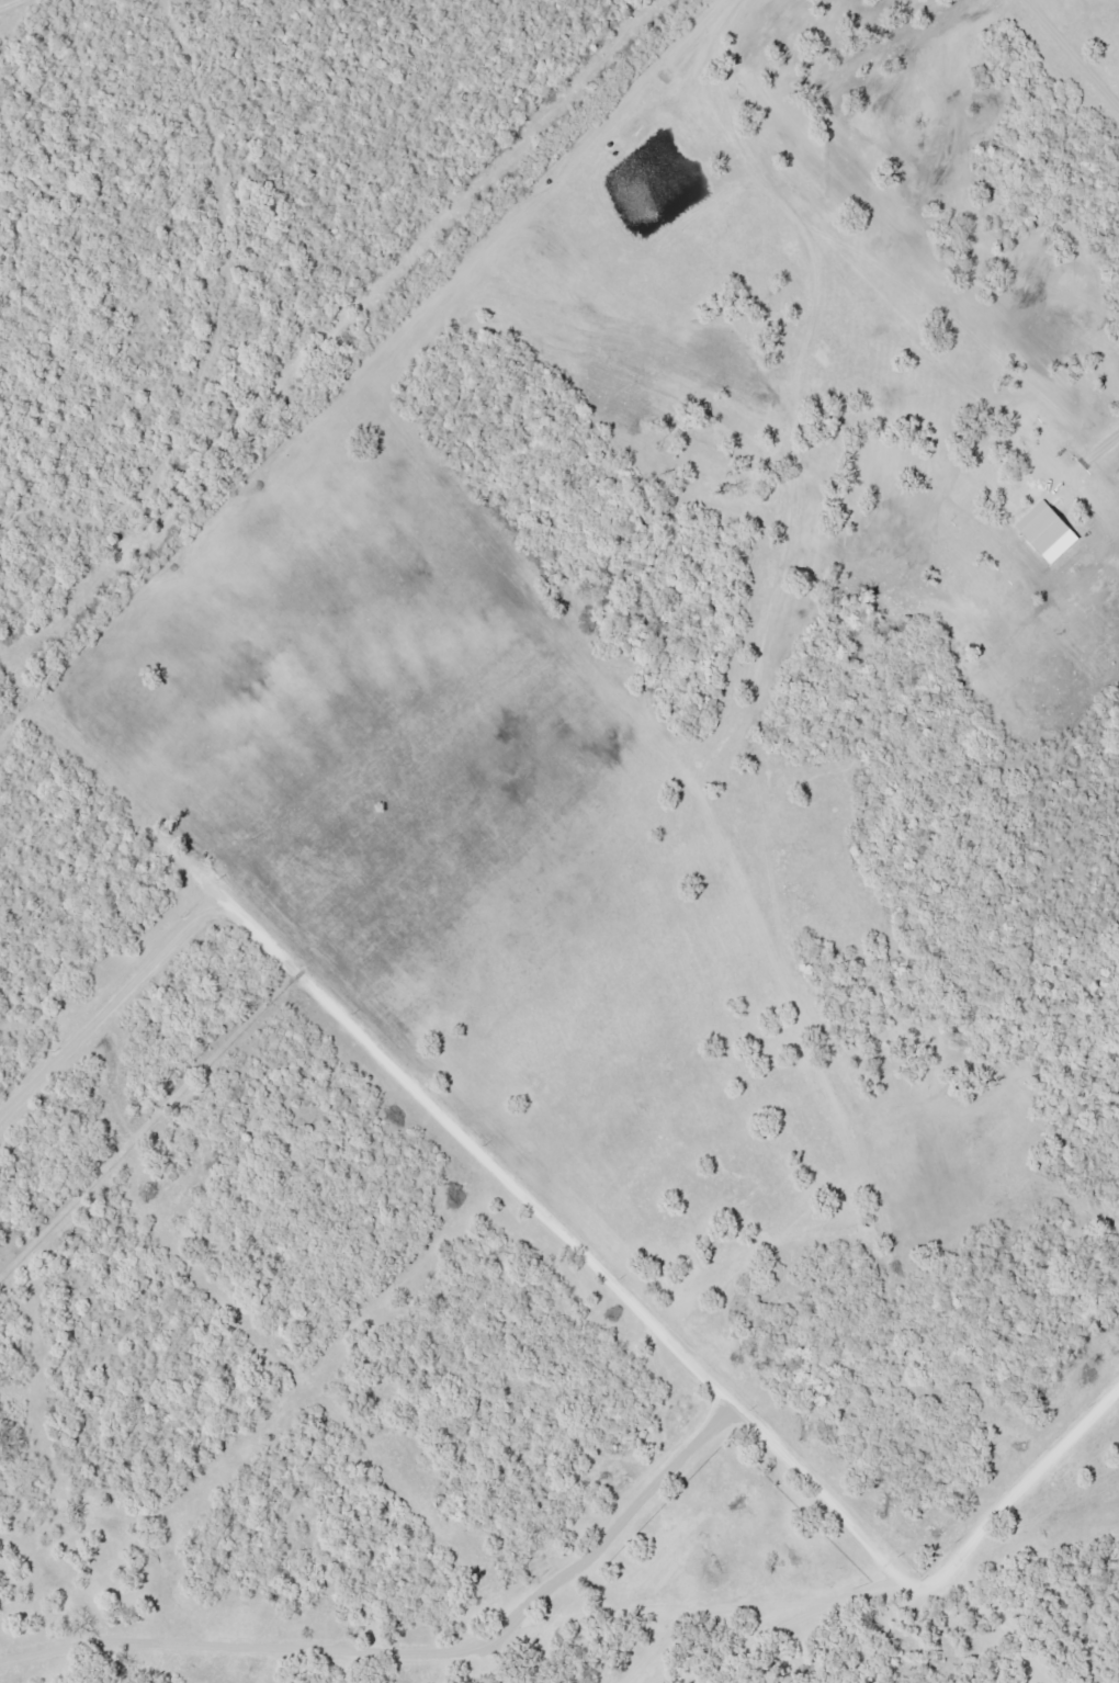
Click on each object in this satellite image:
road: (14, 4)
road: (796, 420)
road: (942, 1572)
road: (657, 1649)
road: (351, 1660)

